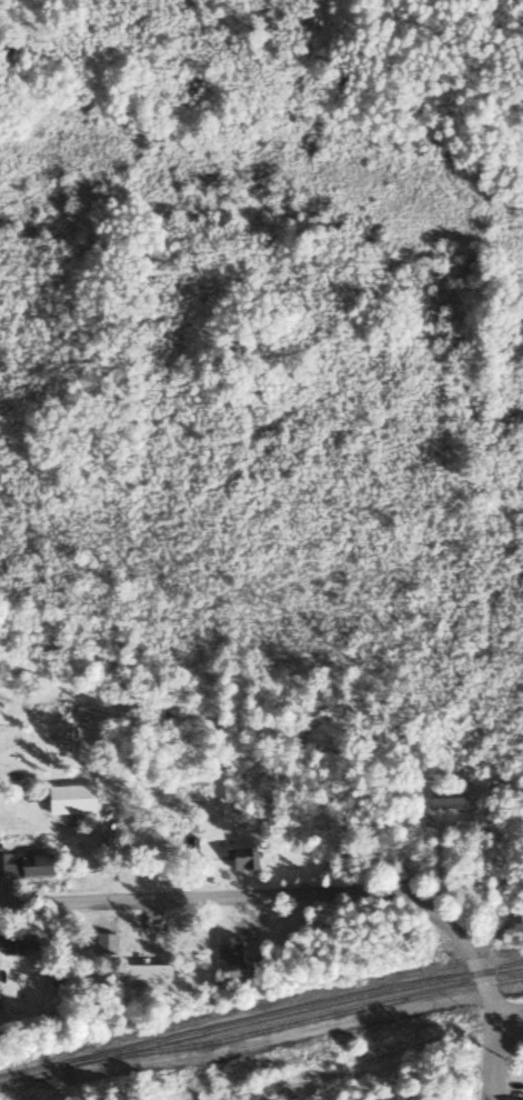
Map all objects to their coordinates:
building: (69, 801)
building: (443, 801)
building: (241, 861)
building: (23, 868)
road: (285, 894)
building: (14, 946)
building: (103, 946)
building: (227, 956)
building: (141, 976)
railway: (291, 1012)
road: (510, 1016)
railway: (292, 1026)
road: (493, 1058)
railway: (31, 1073)

